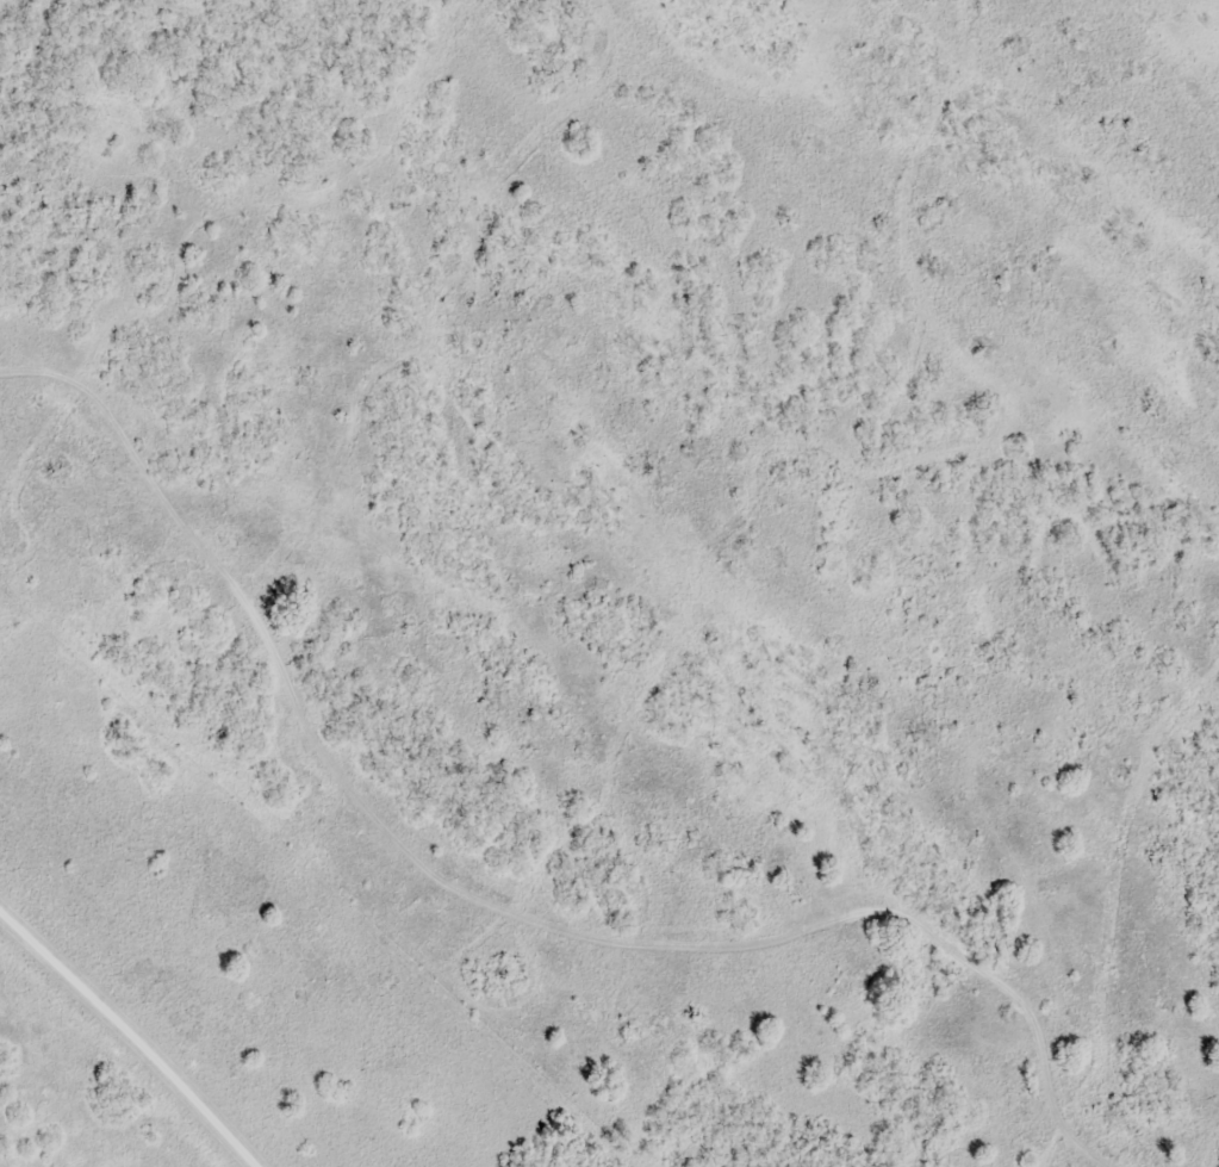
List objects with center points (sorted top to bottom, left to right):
road: (130, 1028)

